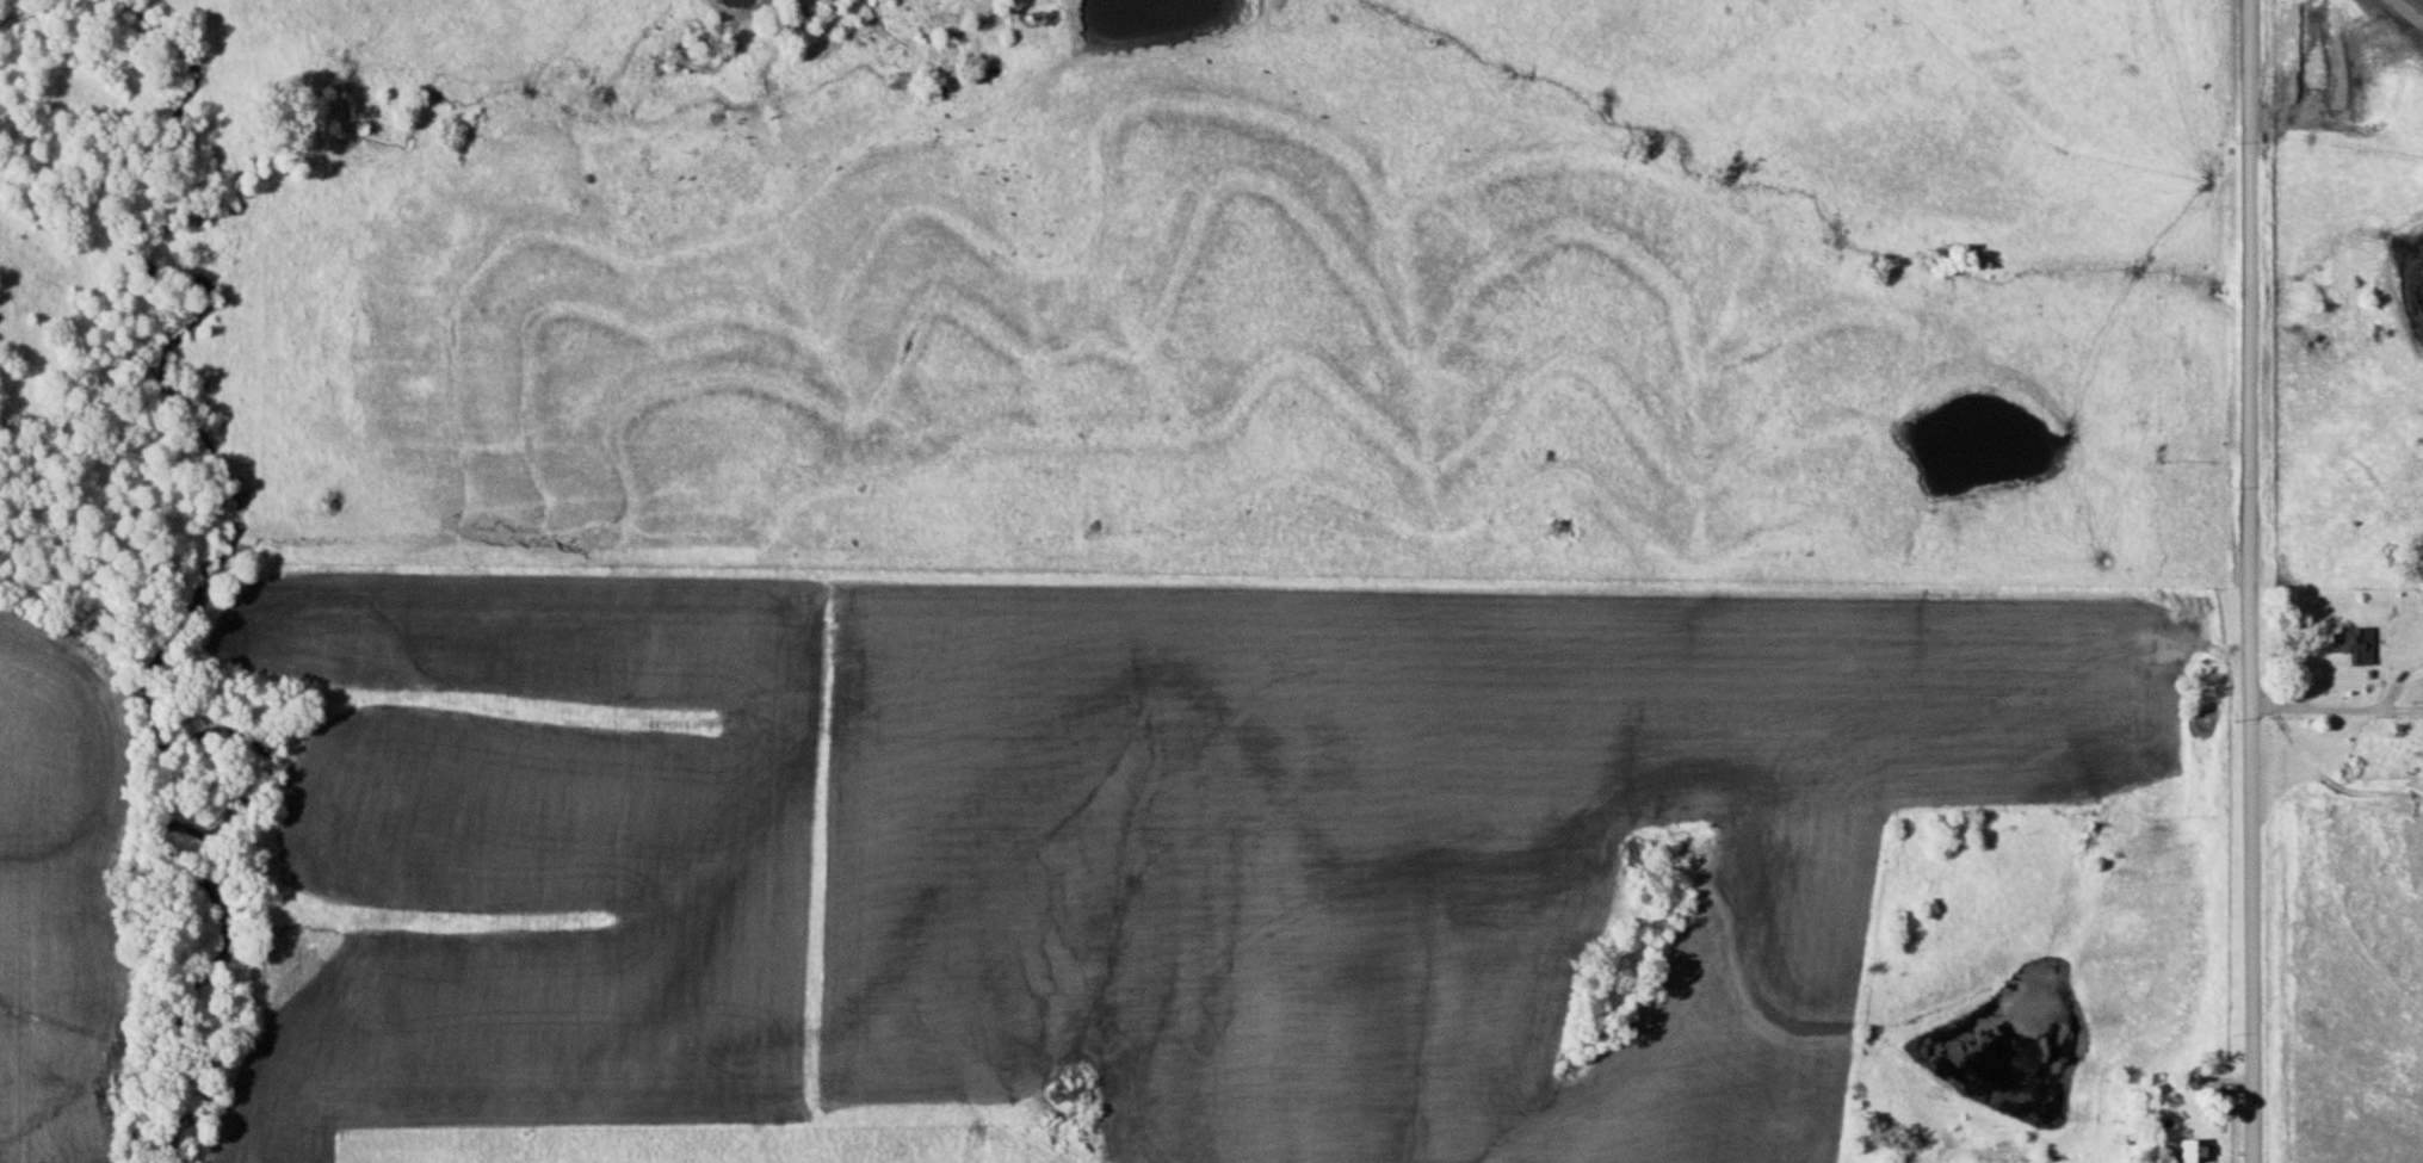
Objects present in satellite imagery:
road: (2249, 581)
building: (2347, 645)
building: (2167, 656)
building: (2188, 1150)

